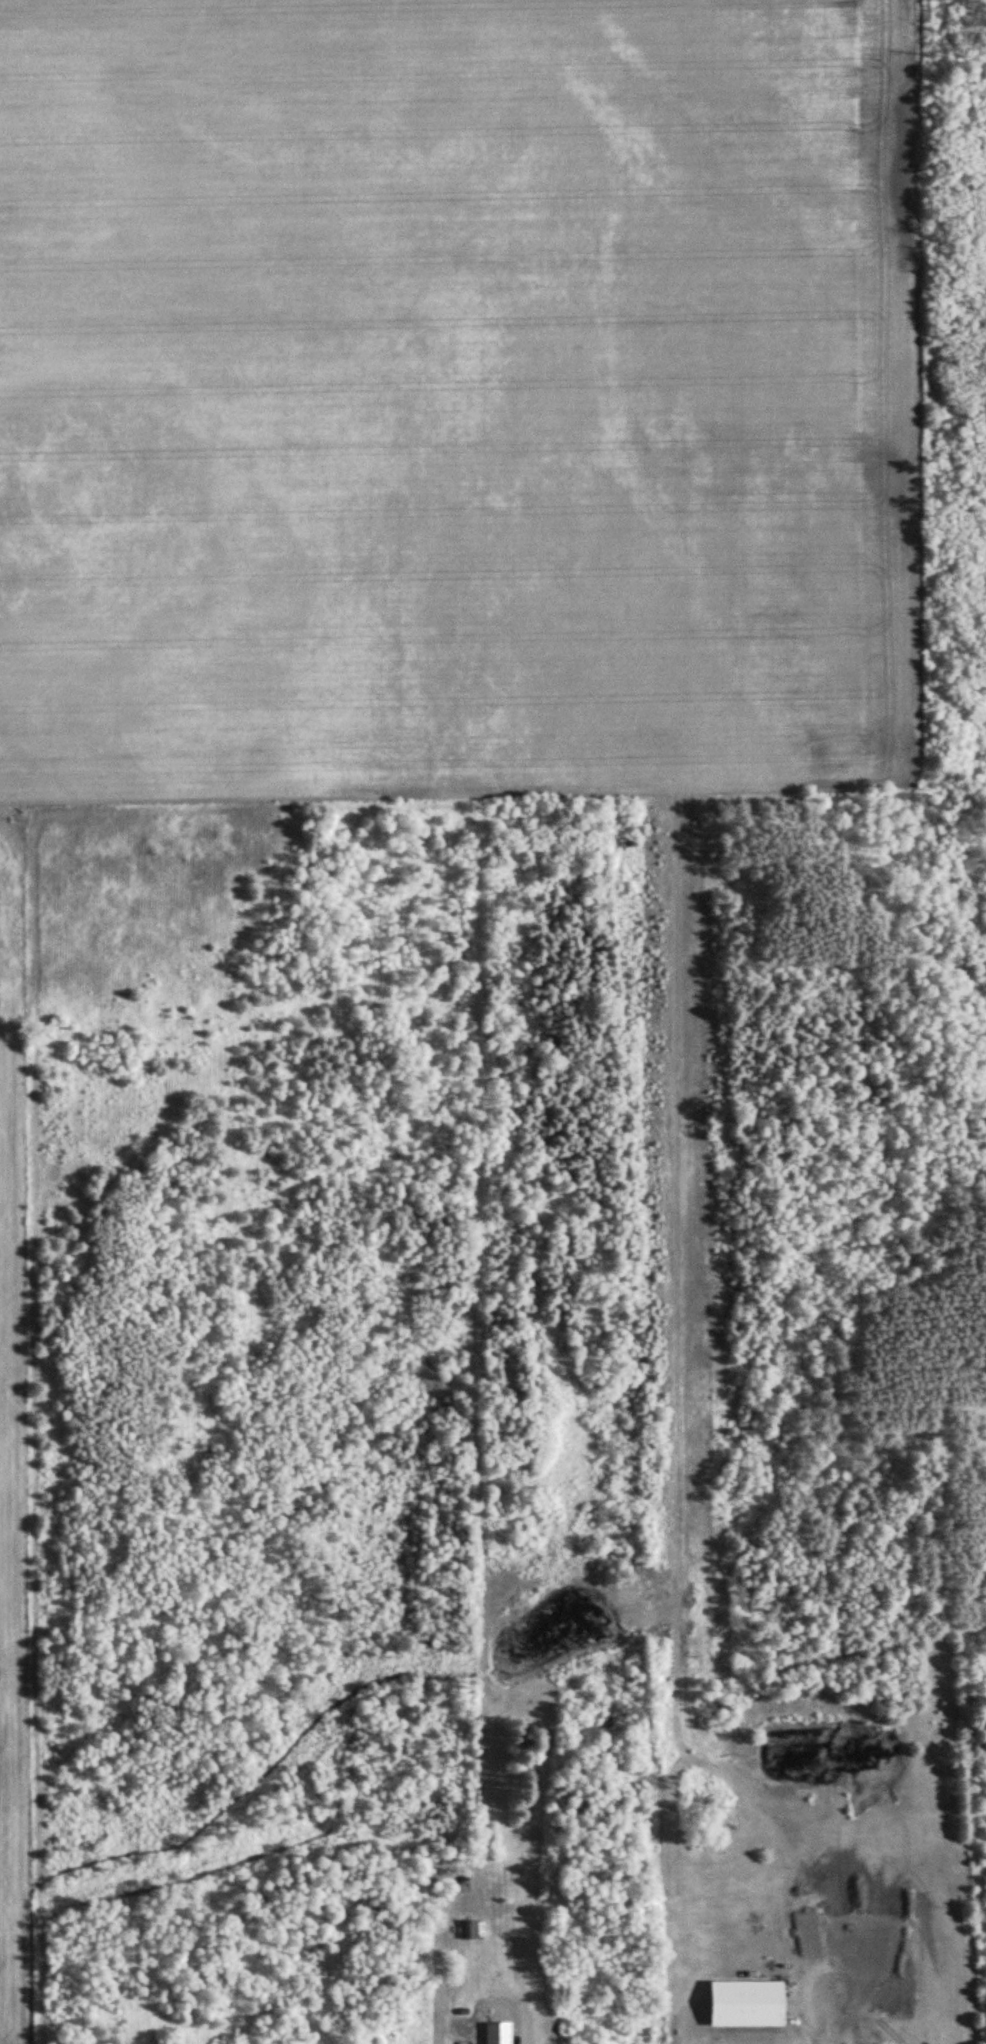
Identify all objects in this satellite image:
building: (465, 1887)
building: (471, 1929)
building: (745, 2003)

